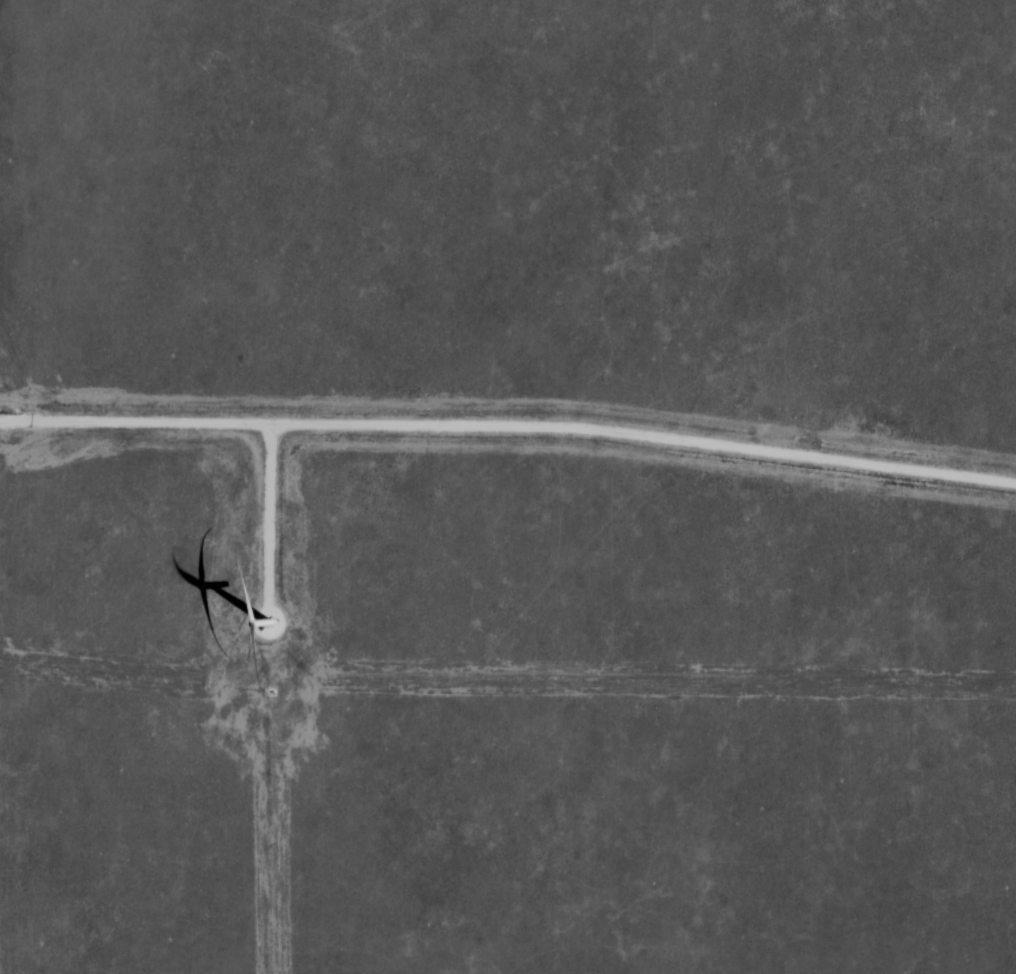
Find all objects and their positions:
wind turbine: (257, 623)

